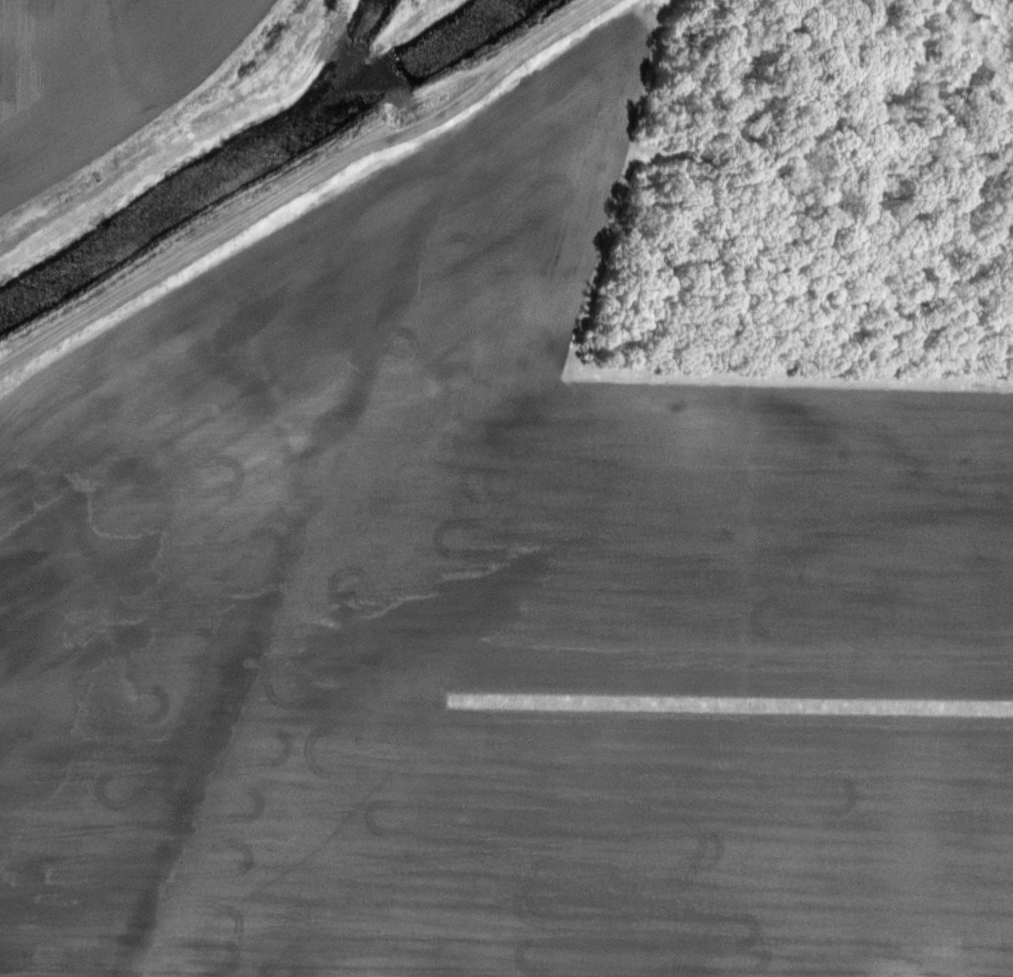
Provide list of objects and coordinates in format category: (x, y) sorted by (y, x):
road: (284, 173)

